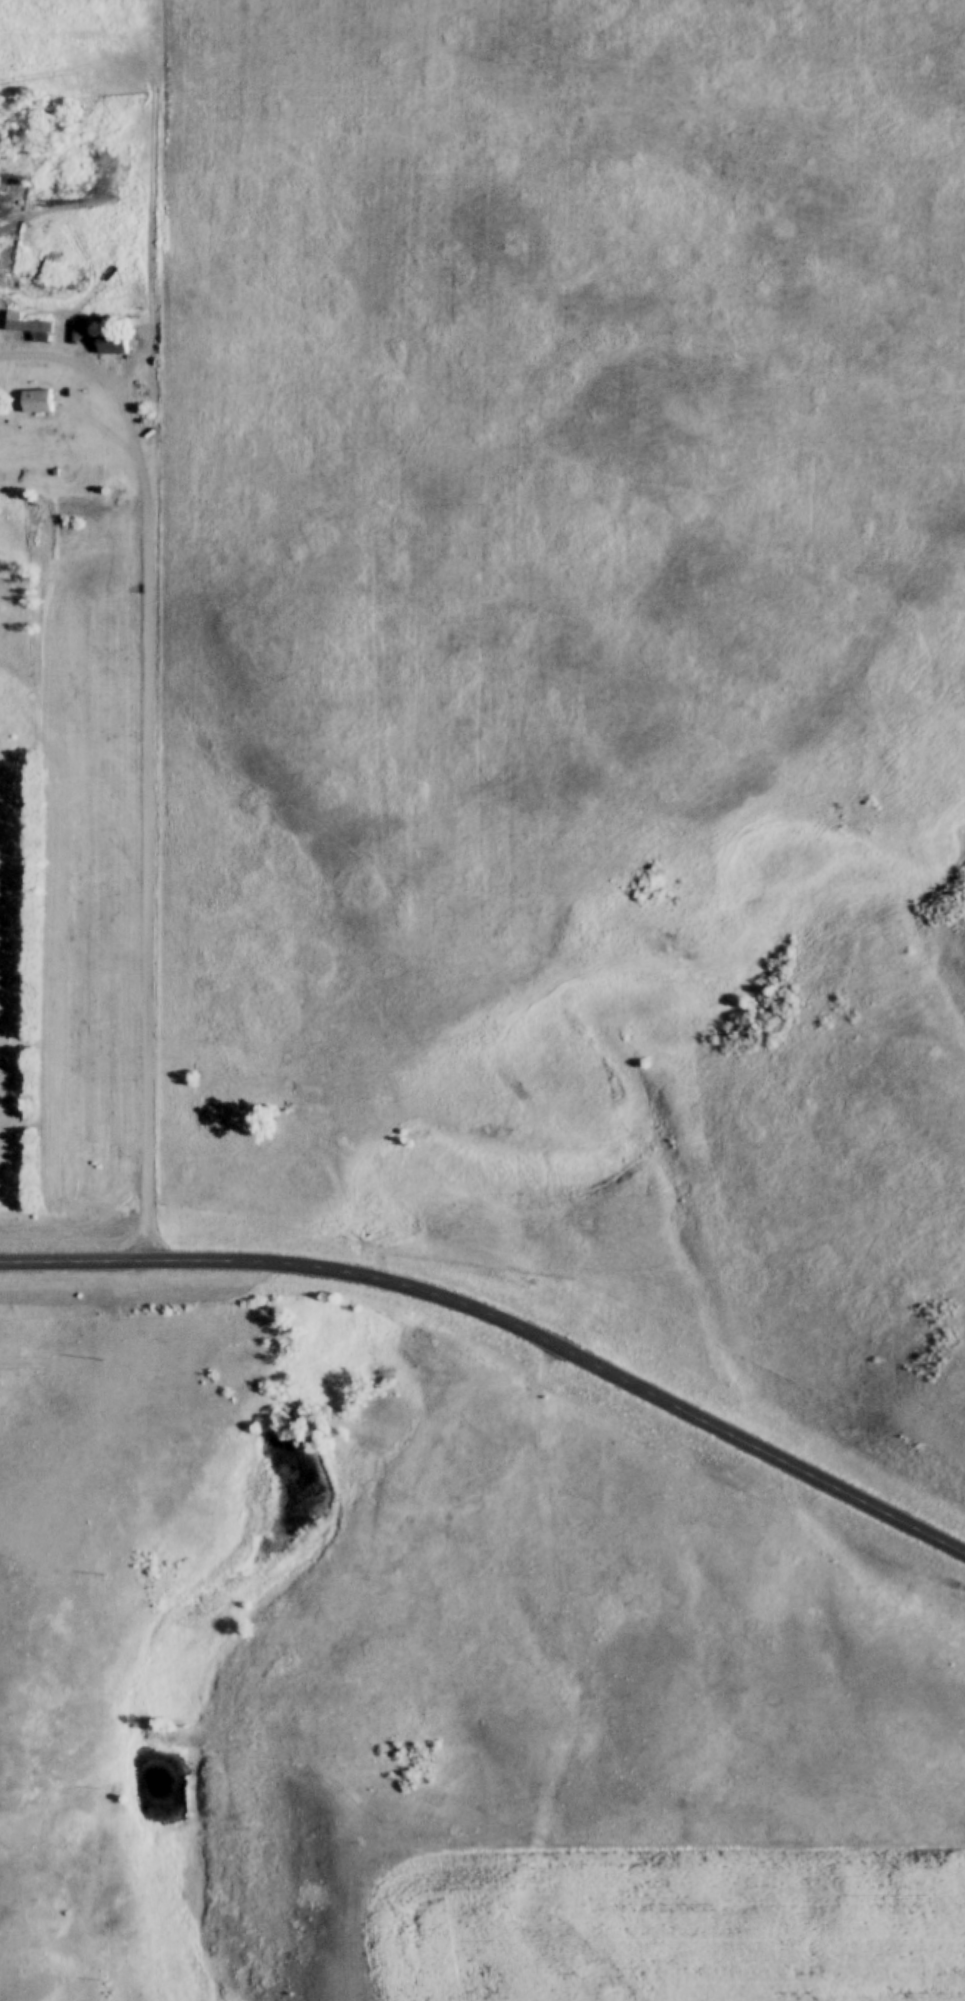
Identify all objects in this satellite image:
building: (27, 327)
building: (112, 344)
building: (36, 402)
road: (147, 759)
road: (507, 1316)

